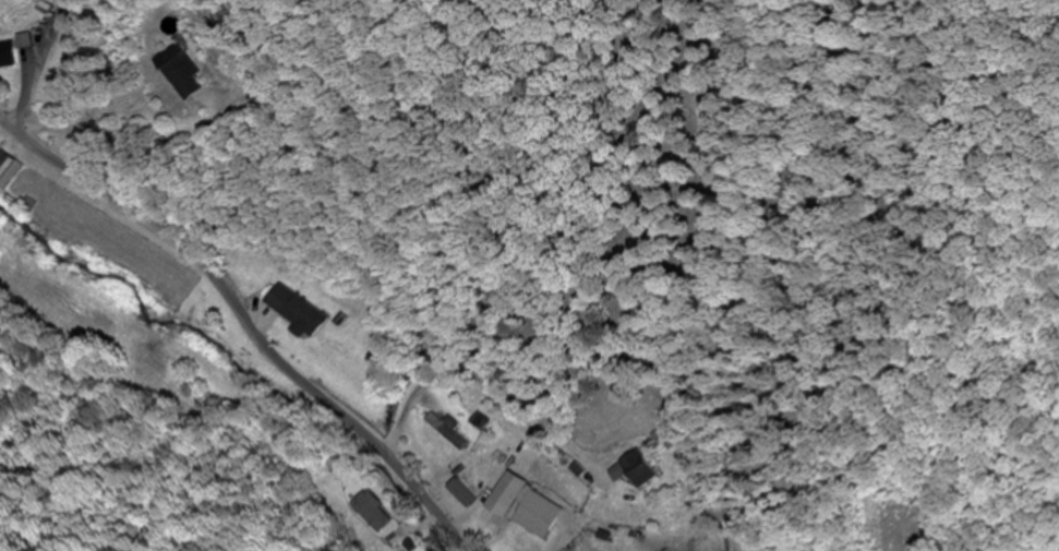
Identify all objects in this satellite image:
road: (50, 46)
building: (8, 58)
building: (181, 73)
road: (2, 124)
building: (294, 311)
road: (248, 318)
road: (633, 384)
building: (445, 433)
building: (635, 471)
building: (522, 504)

